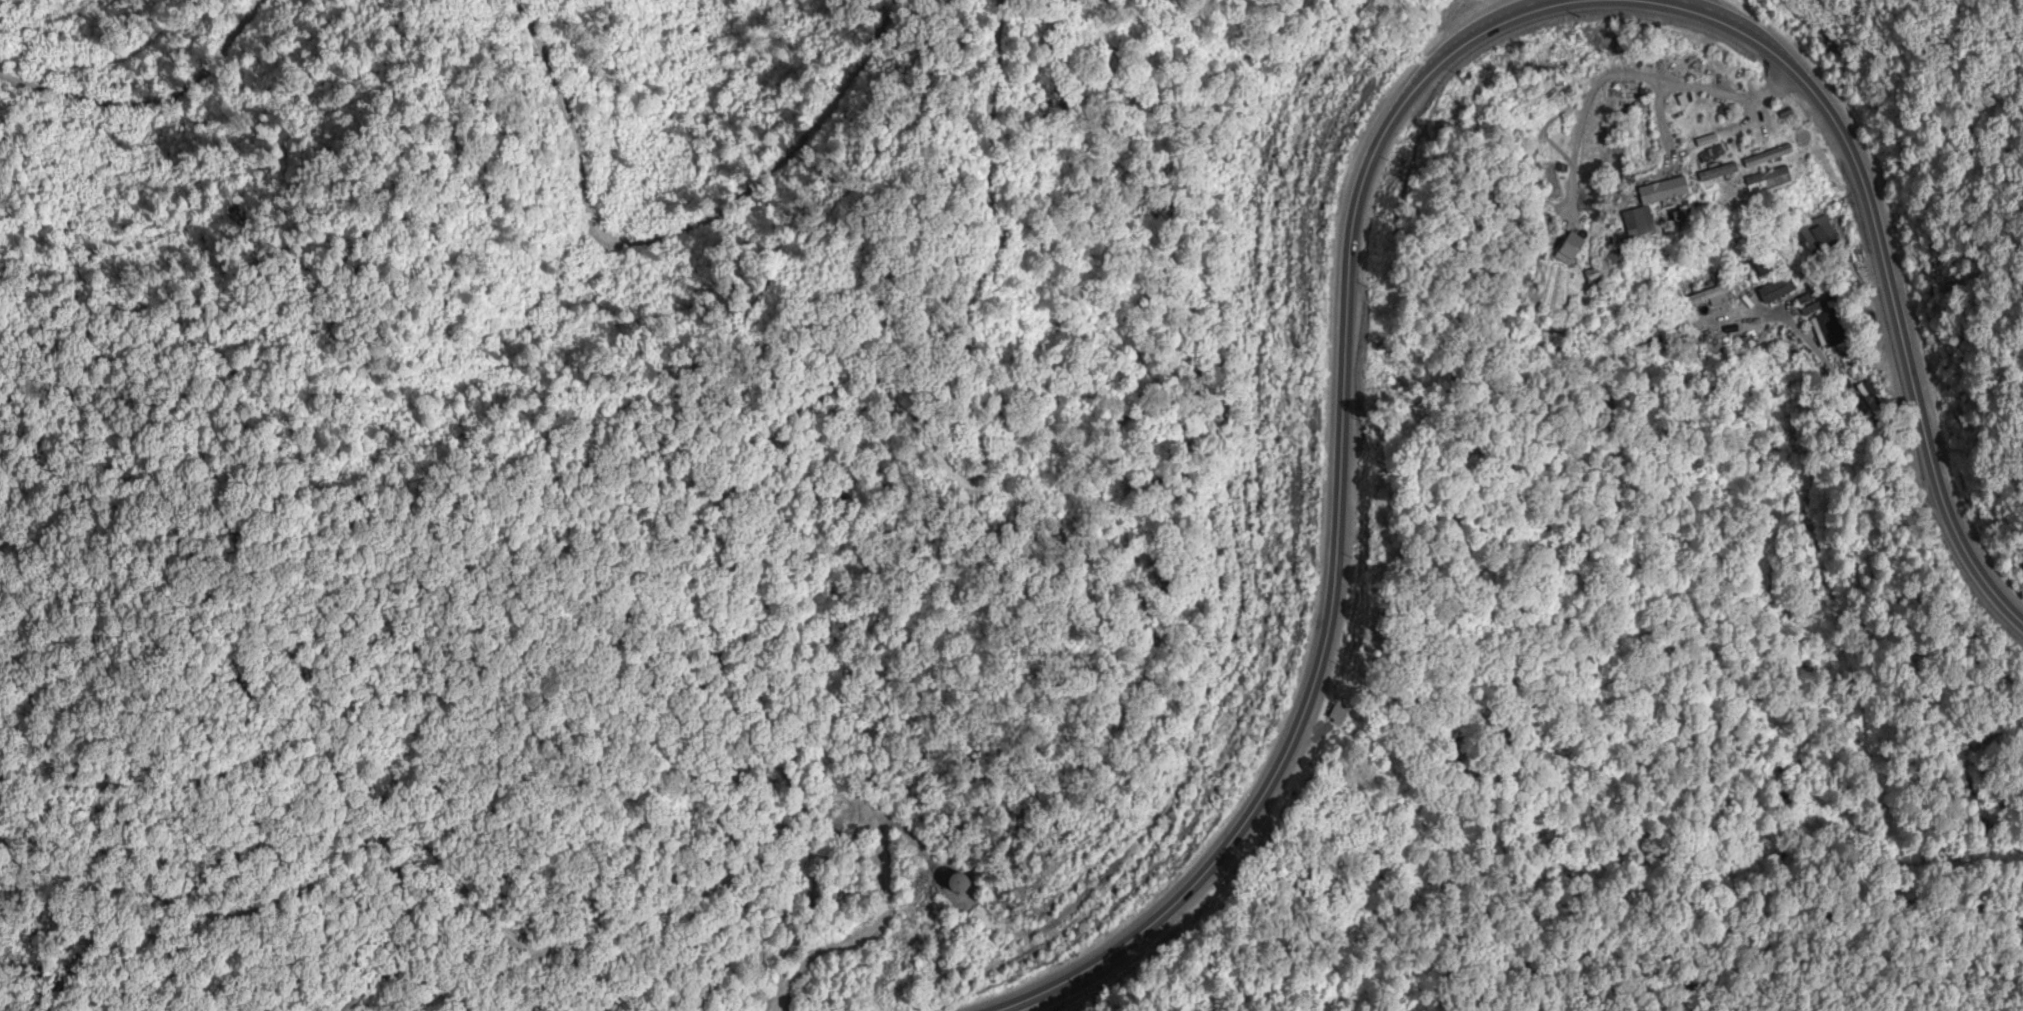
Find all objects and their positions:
road: (1539, 4)
road: (1637, 78)
road: (1658, 128)
building: (1676, 136)
building: (1704, 141)
building: (1768, 157)
building: (1718, 173)
building: (1767, 177)
building: (1560, 194)
building: (1639, 223)
building: (1818, 235)
building: (1567, 247)
building: (1761, 267)
road: (1888, 274)
building: (1776, 291)
building: (1710, 298)
building: (1823, 320)
building: (1643, 344)
road: (854, 398)
road: (1859, 406)
road: (1339, 525)
building: (1337, 718)
road: (442, 859)
building: (959, 887)

